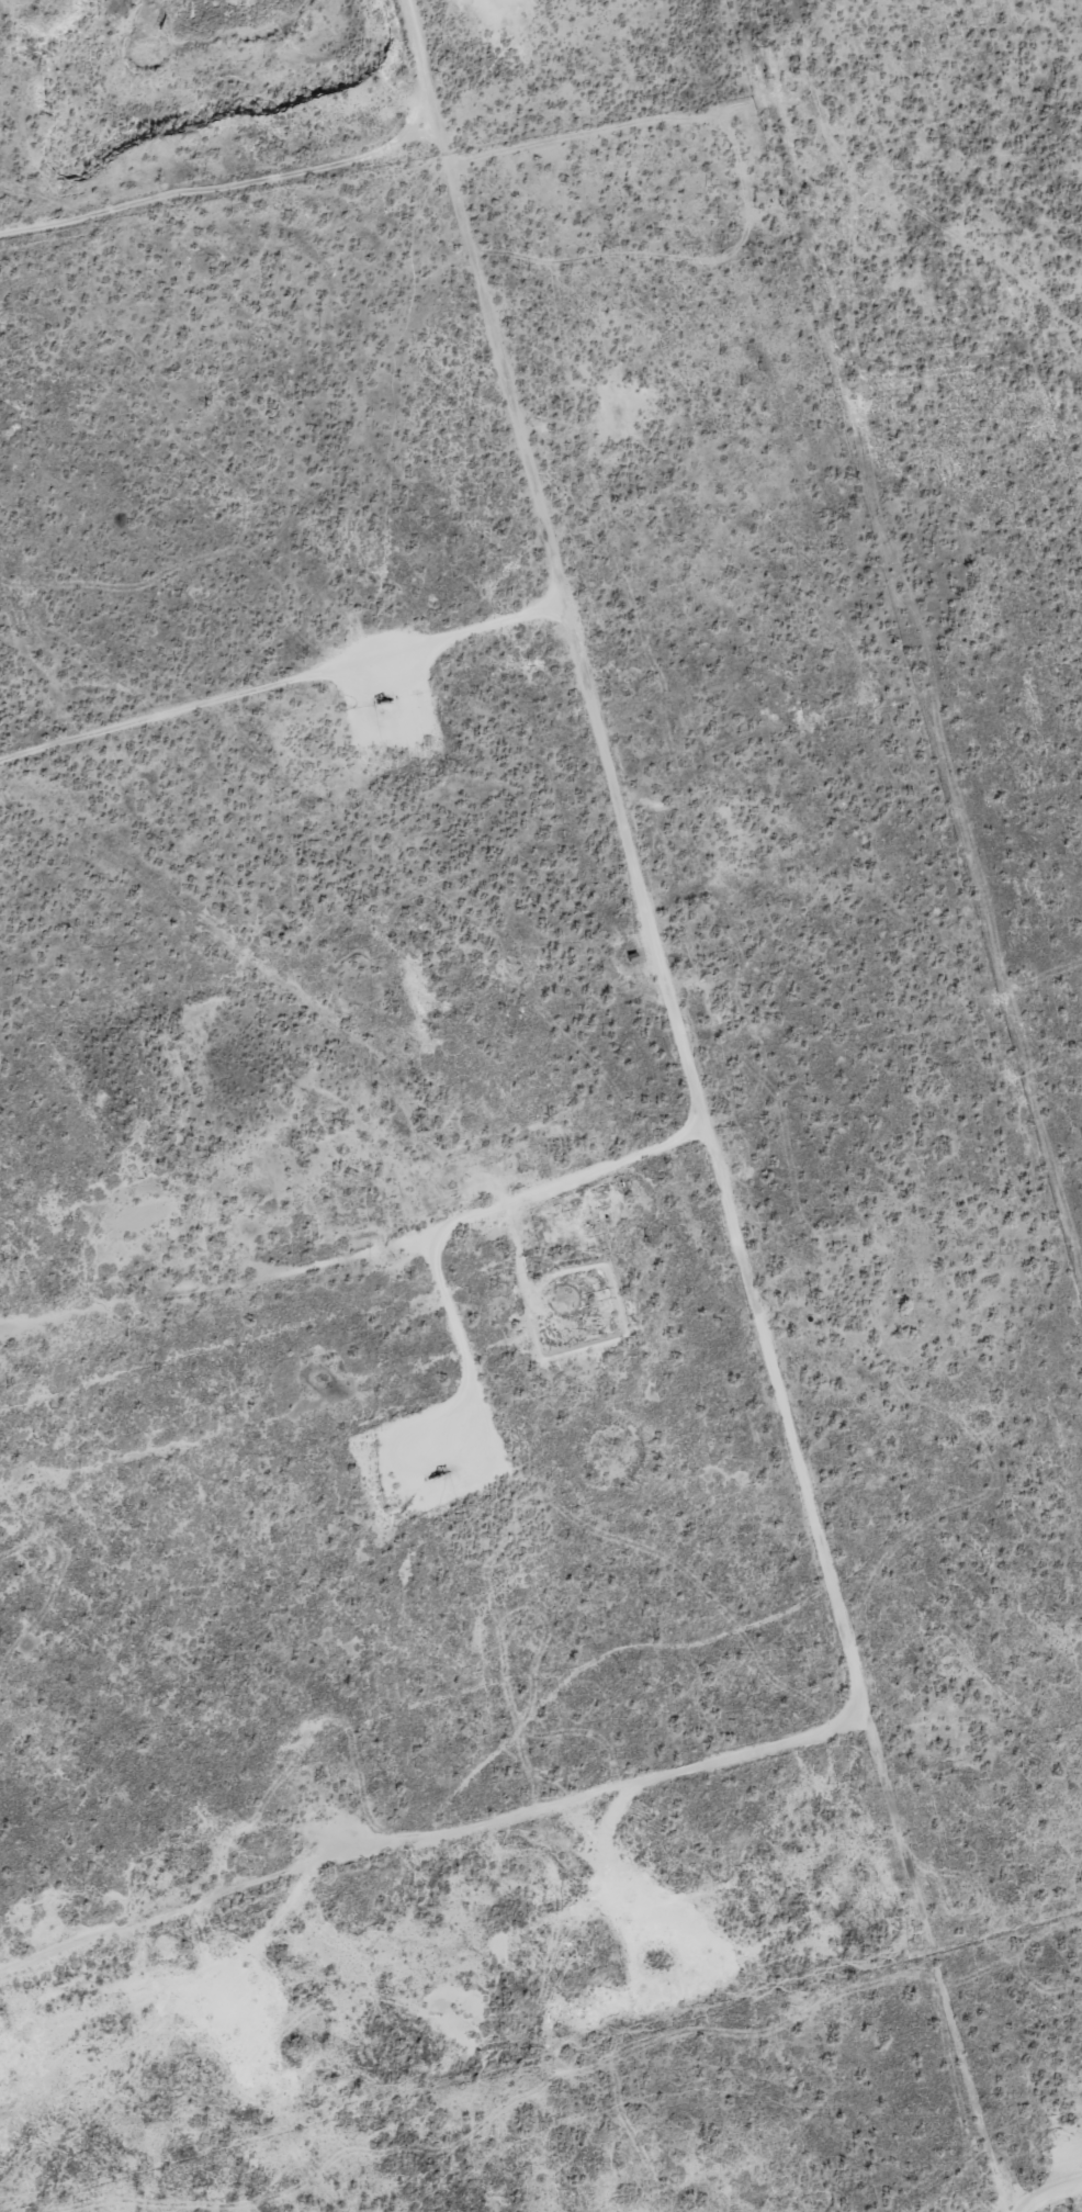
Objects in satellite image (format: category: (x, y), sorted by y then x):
road: (824, 294)
road: (1064, 434)
road: (282, 681)
road: (707, 1107)
road: (431, 1838)
road: (1051, 2201)

